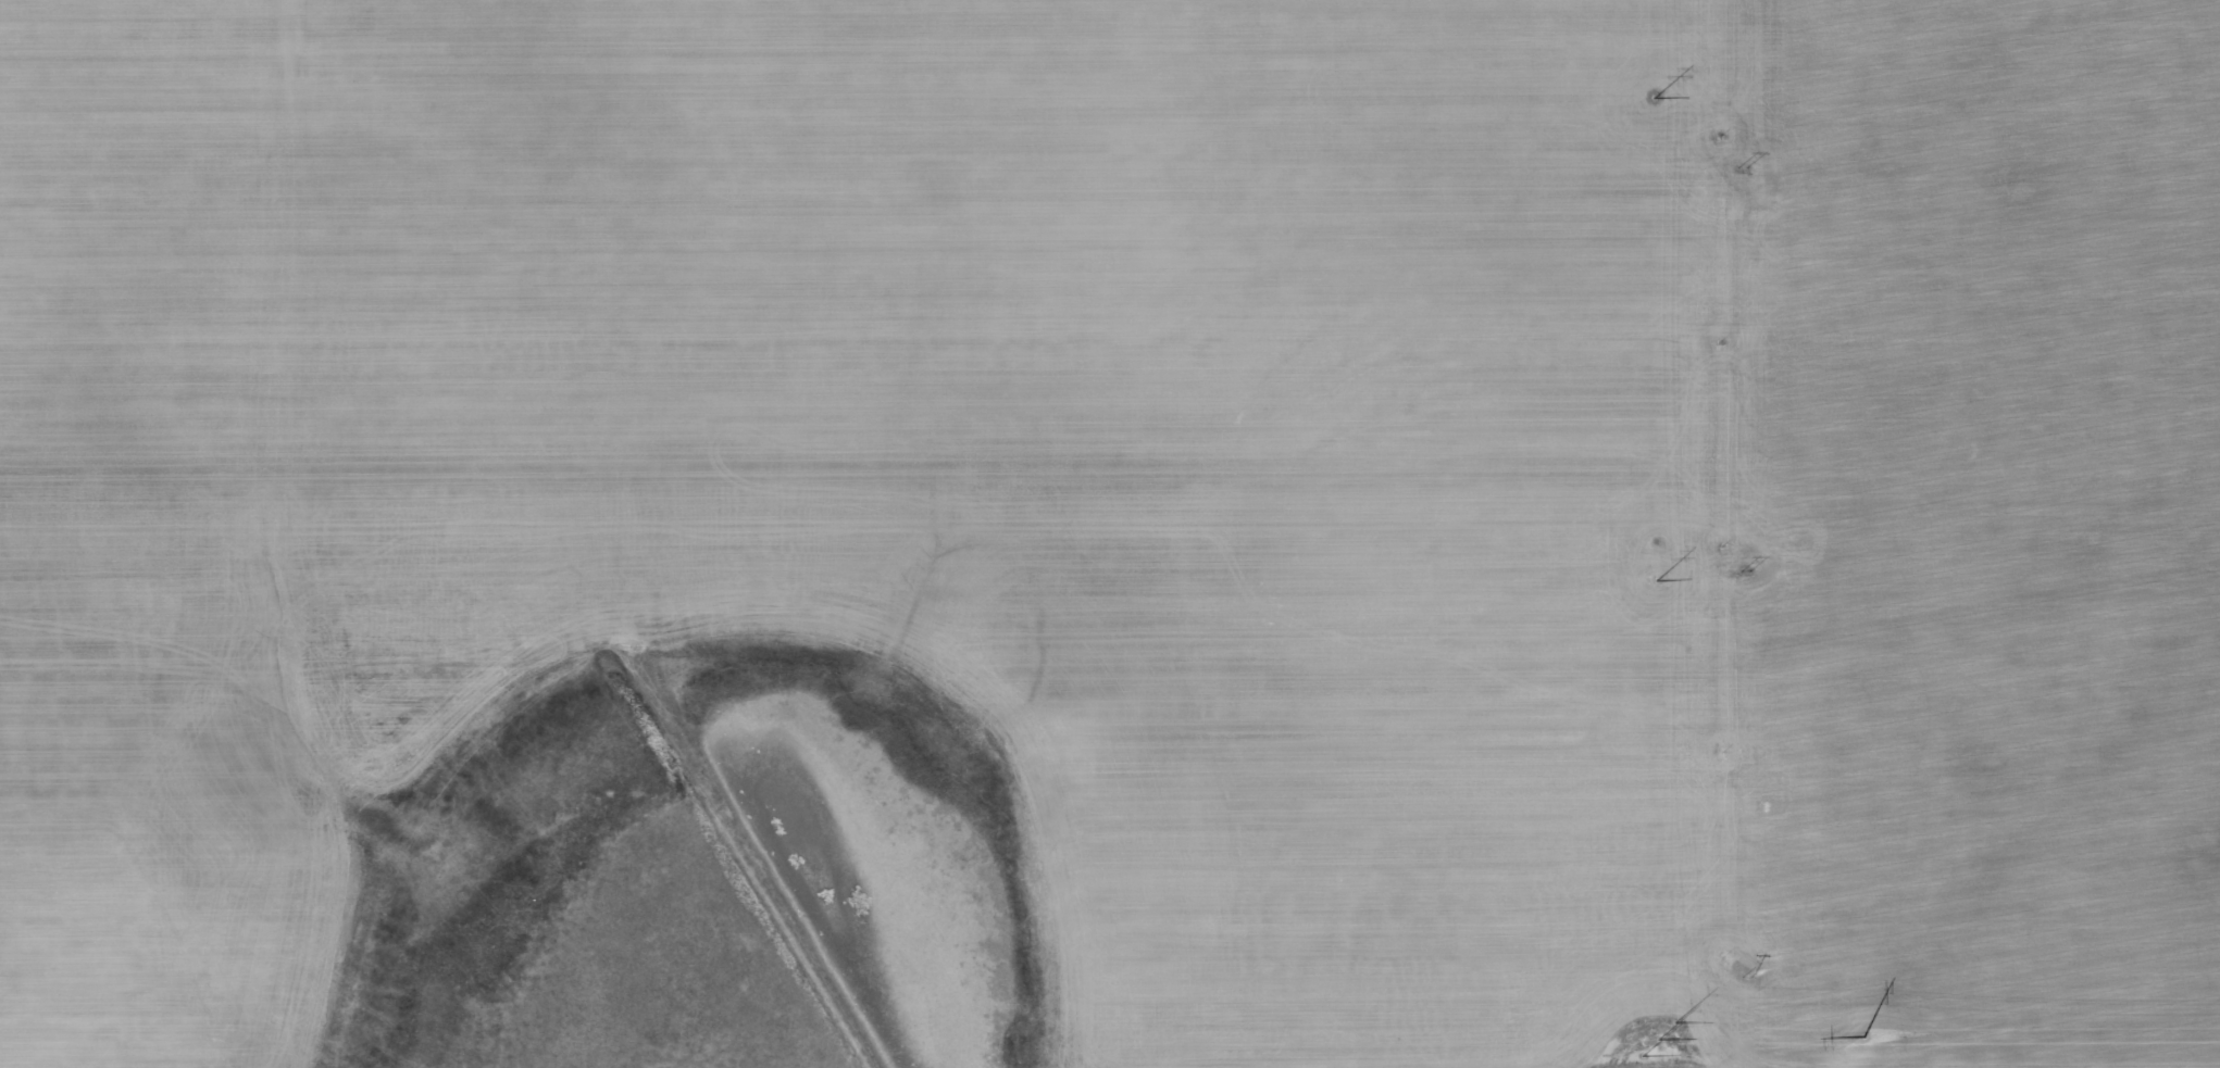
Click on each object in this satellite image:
power tower: (1654, 97)
power tower: (1657, 579)
power tower: (1861, 1036)
power tower: (1659, 1038)

